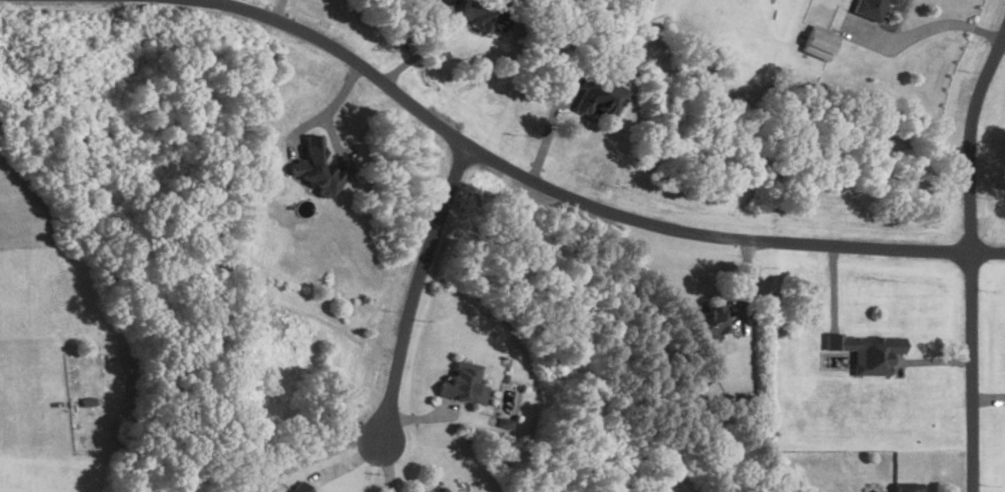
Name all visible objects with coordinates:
road: (220, 2)
building: (870, 9)
road: (277, 10)
building: (480, 16)
road: (924, 32)
building: (819, 45)
road: (423, 51)
road: (1000, 51)
building: (594, 98)
road: (323, 115)
road: (968, 139)
road: (544, 140)
building: (311, 167)
road: (568, 200)
road: (742, 281)
road: (831, 288)
road: (413, 291)
building: (710, 320)
building: (864, 353)
road: (933, 362)
road: (970, 372)
building: (461, 386)
road: (987, 400)
road: (419, 419)
building: (503, 424)
road: (383, 467)
building: (298, 488)
building: (904, 488)
building: (437, 490)

